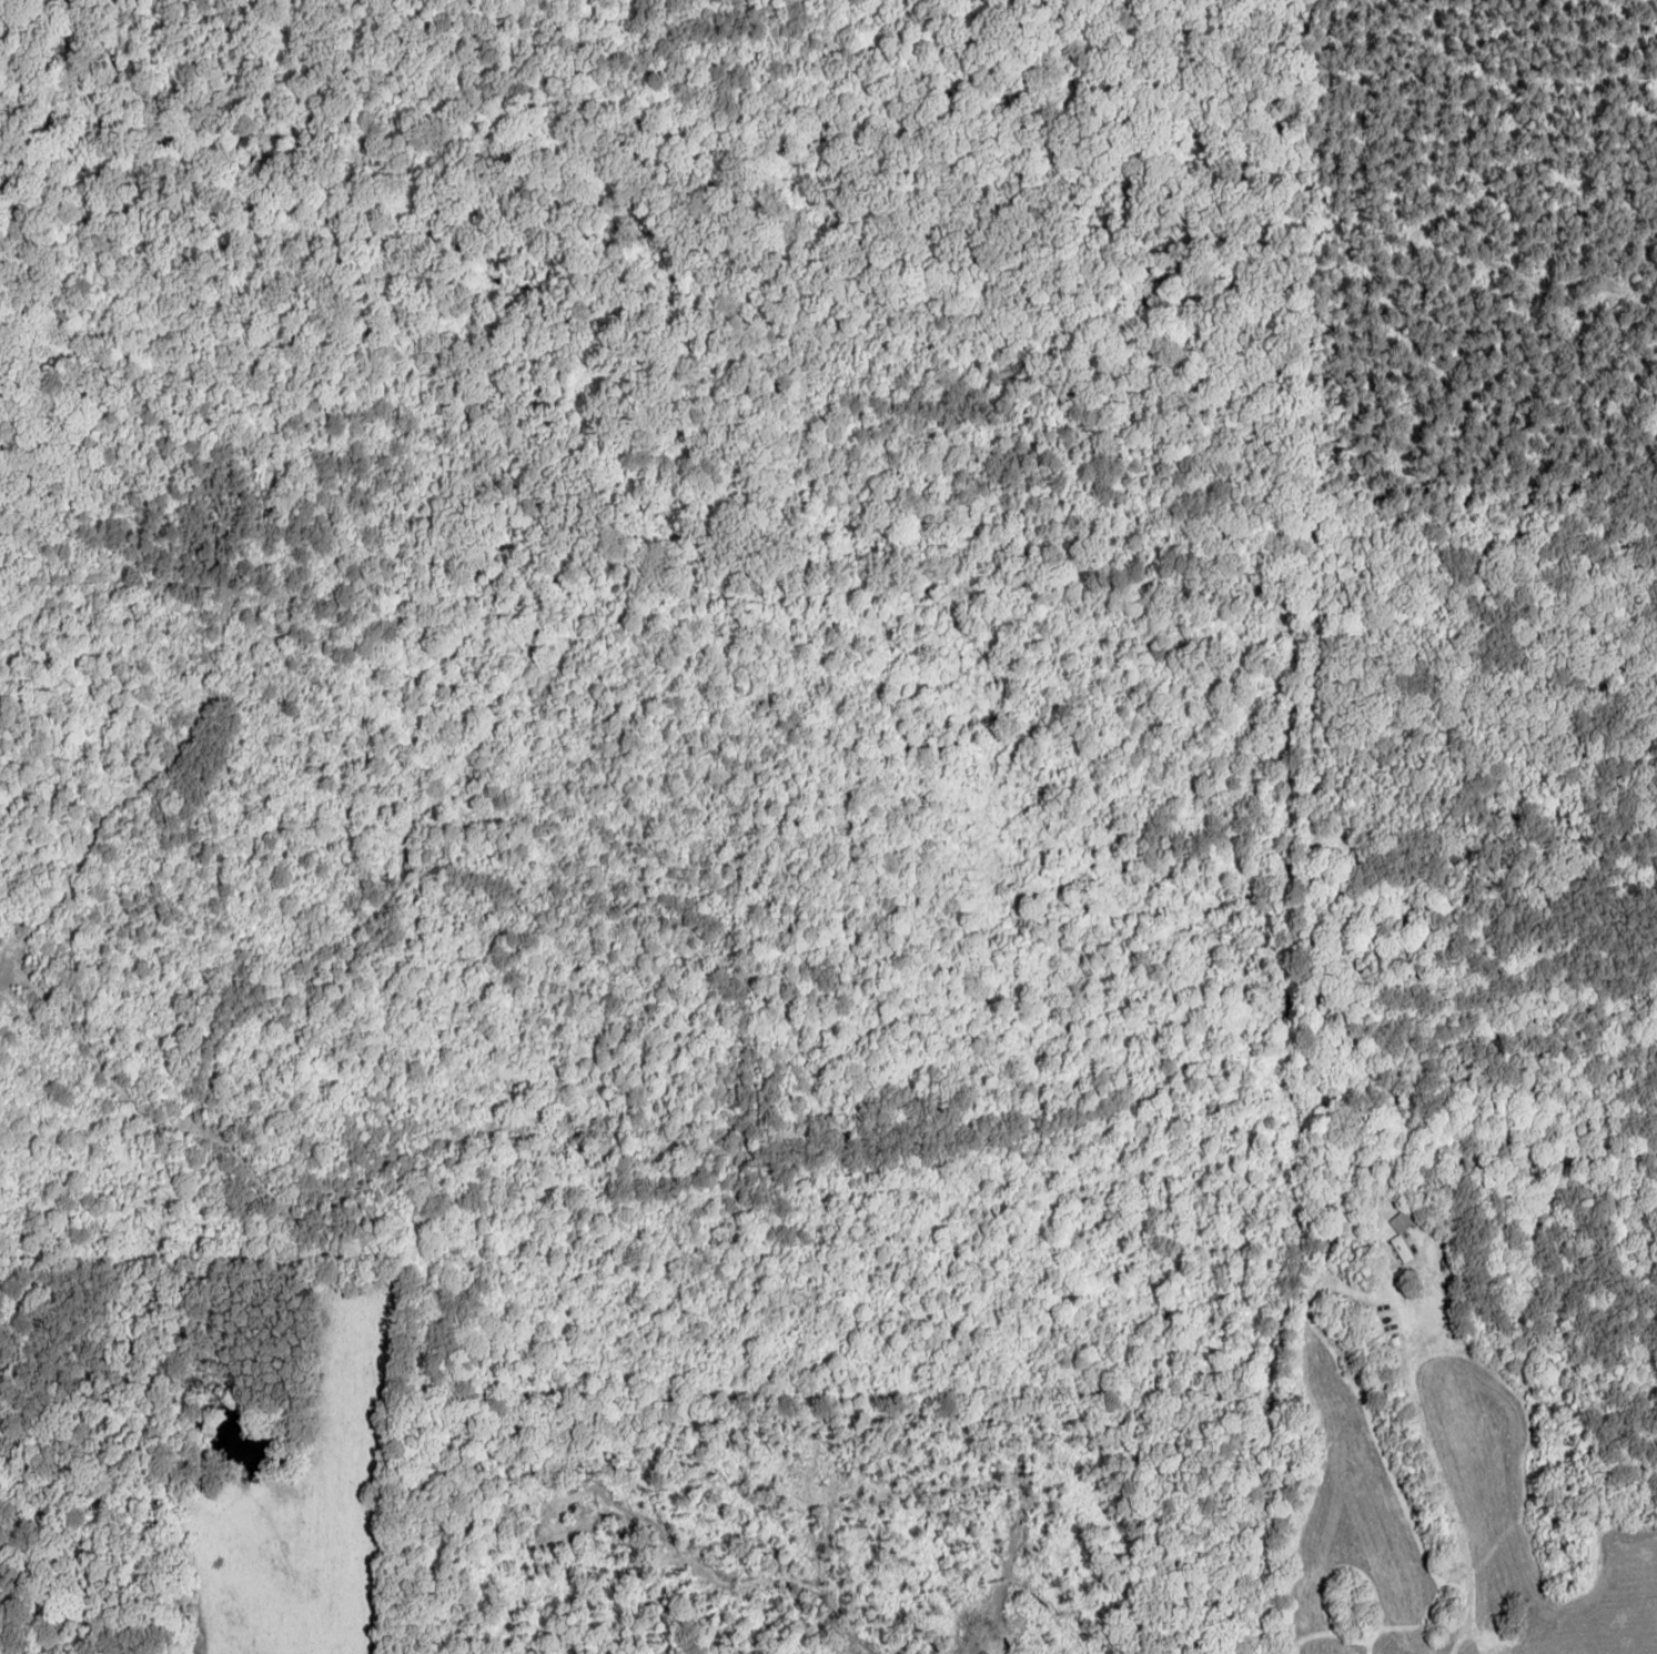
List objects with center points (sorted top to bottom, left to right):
building: (1401, 1222)
building: (1402, 1248)

